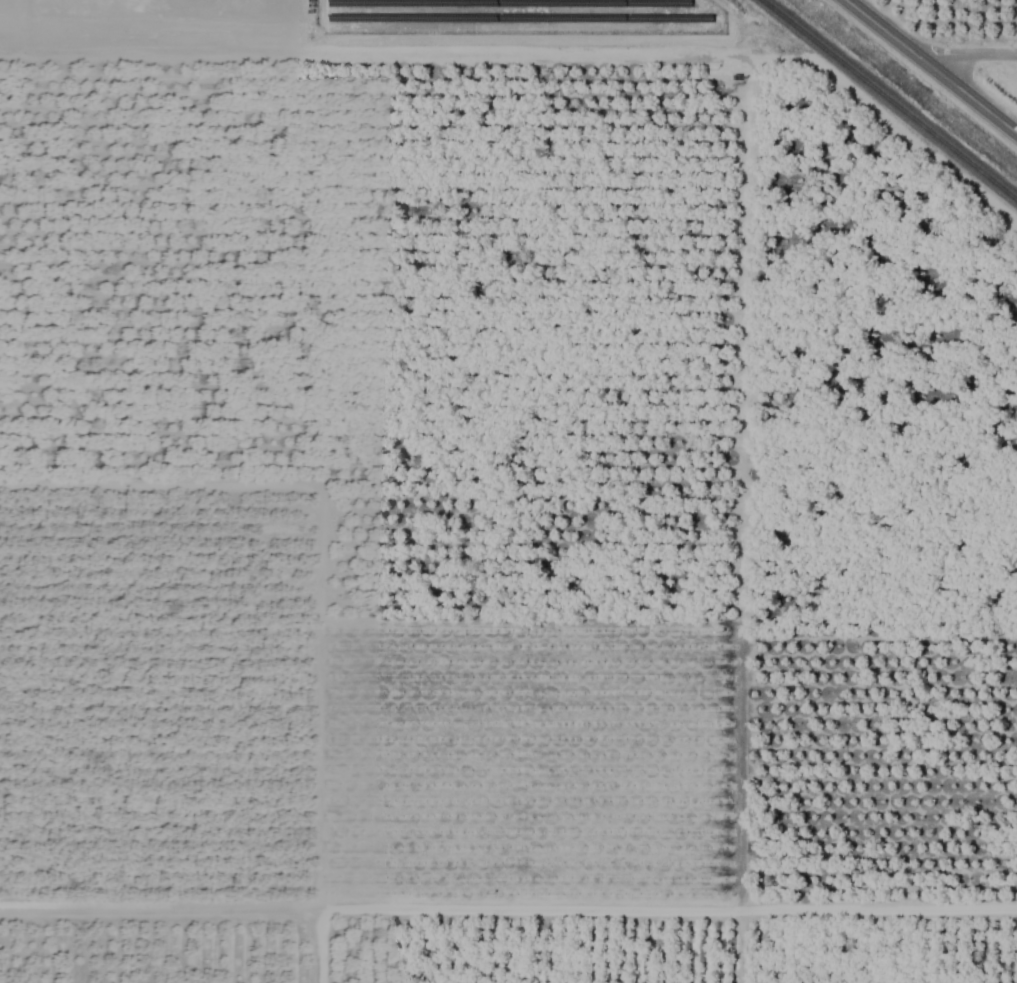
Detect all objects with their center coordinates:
road: (343, 54)
road: (967, 56)
road: (930, 67)
railway: (888, 101)
building: (128, 387)
building: (240, 392)
crop: (508, 491)

